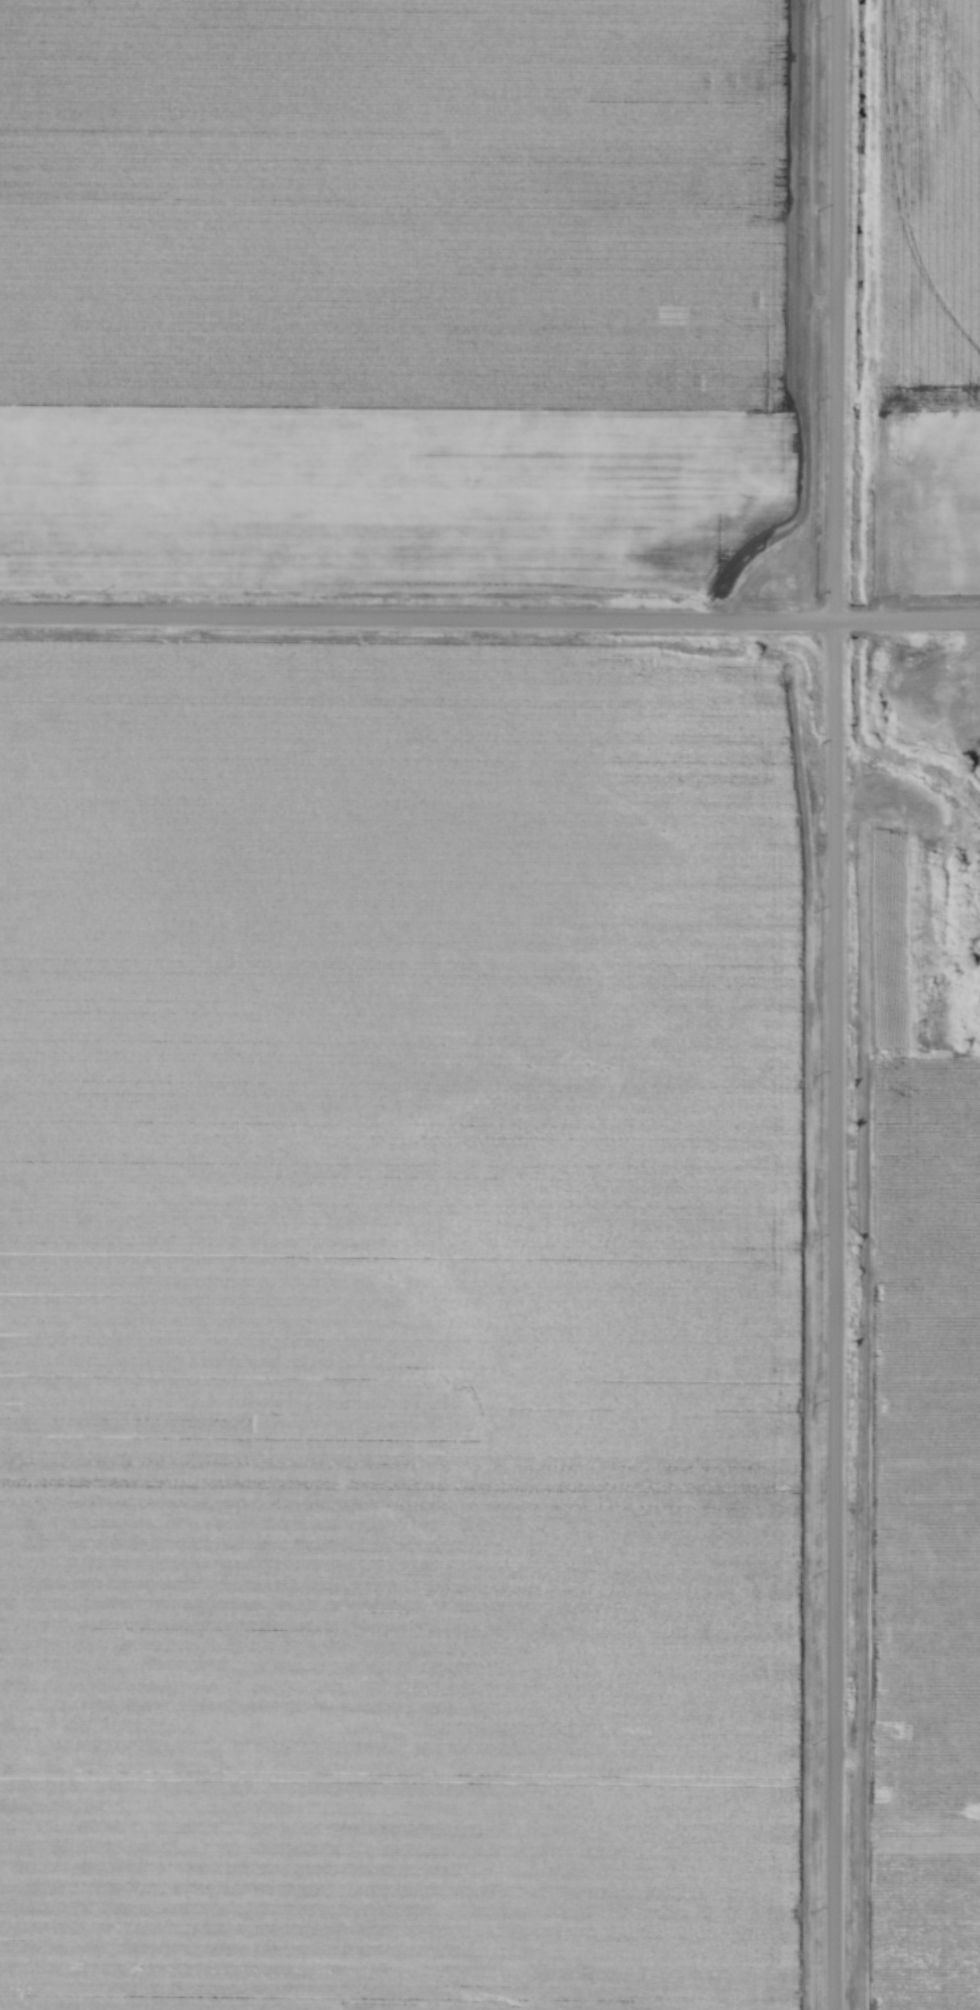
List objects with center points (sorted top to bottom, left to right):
road: (490, 624)
road: (836, 1004)

